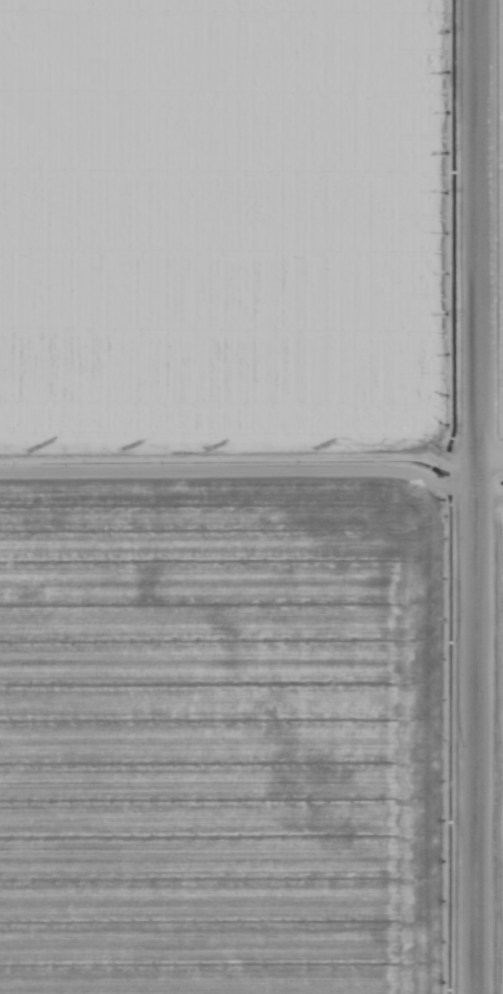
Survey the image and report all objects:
road: (492, 443)
road: (481, 497)

